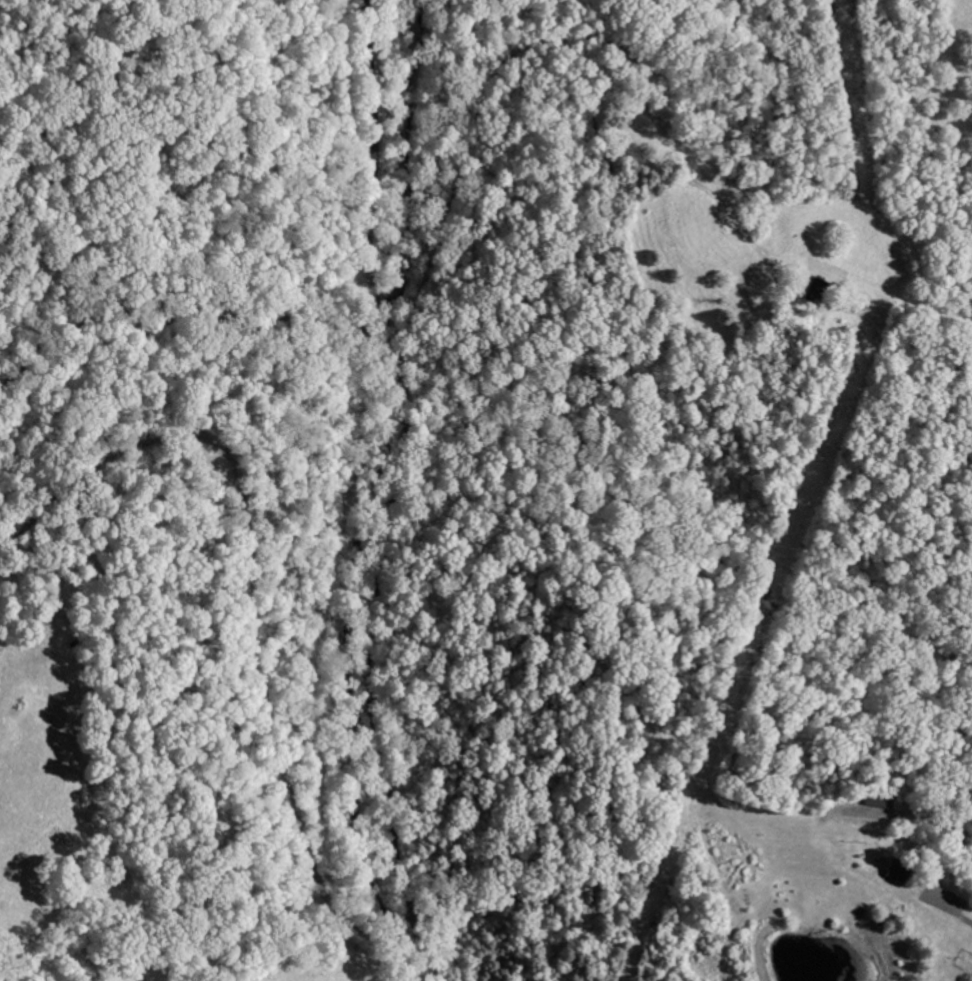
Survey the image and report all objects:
road: (612, 52)
road: (397, 492)
building: (870, 798)
building: (891, 872)

